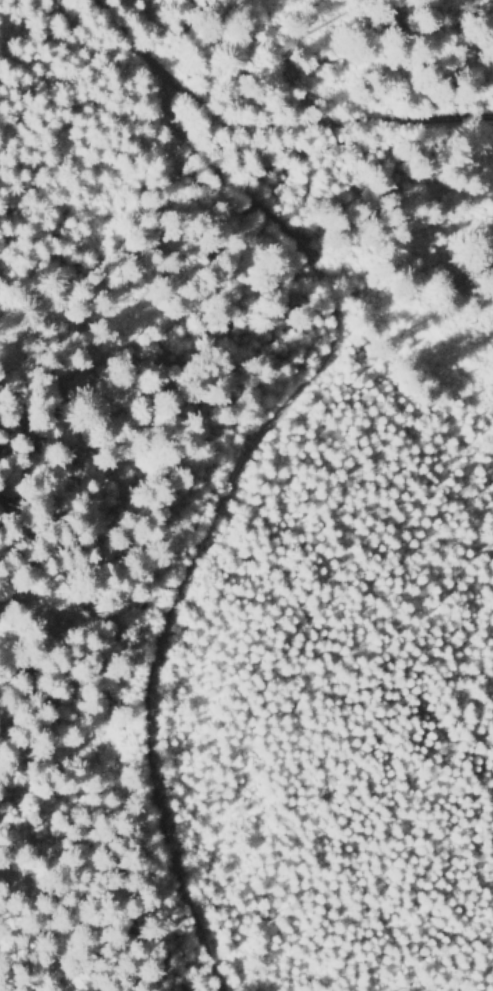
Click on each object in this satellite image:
road: (267, 131)
road: (233, 485)

